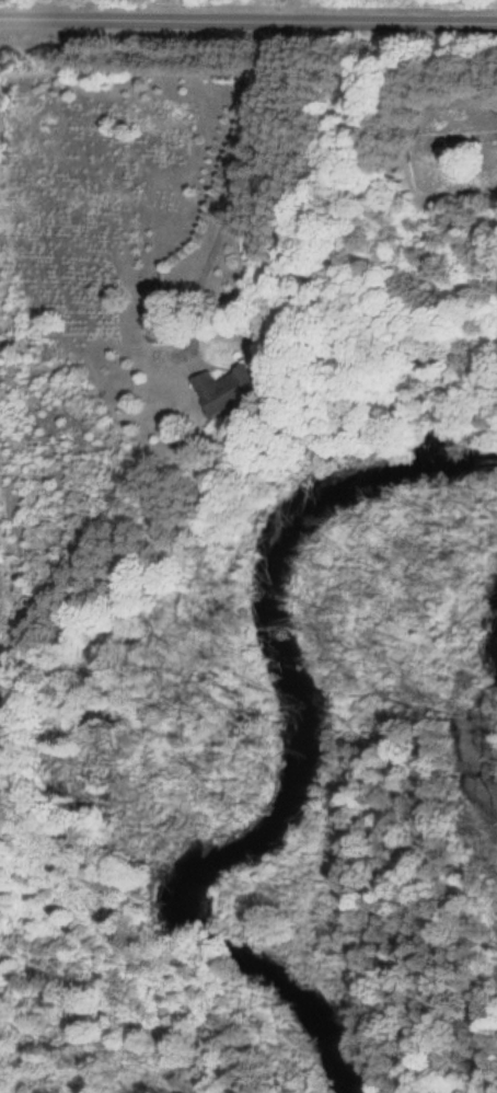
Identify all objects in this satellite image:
road: (248, 20)
building: (218, 390)
river: (305, 764)

